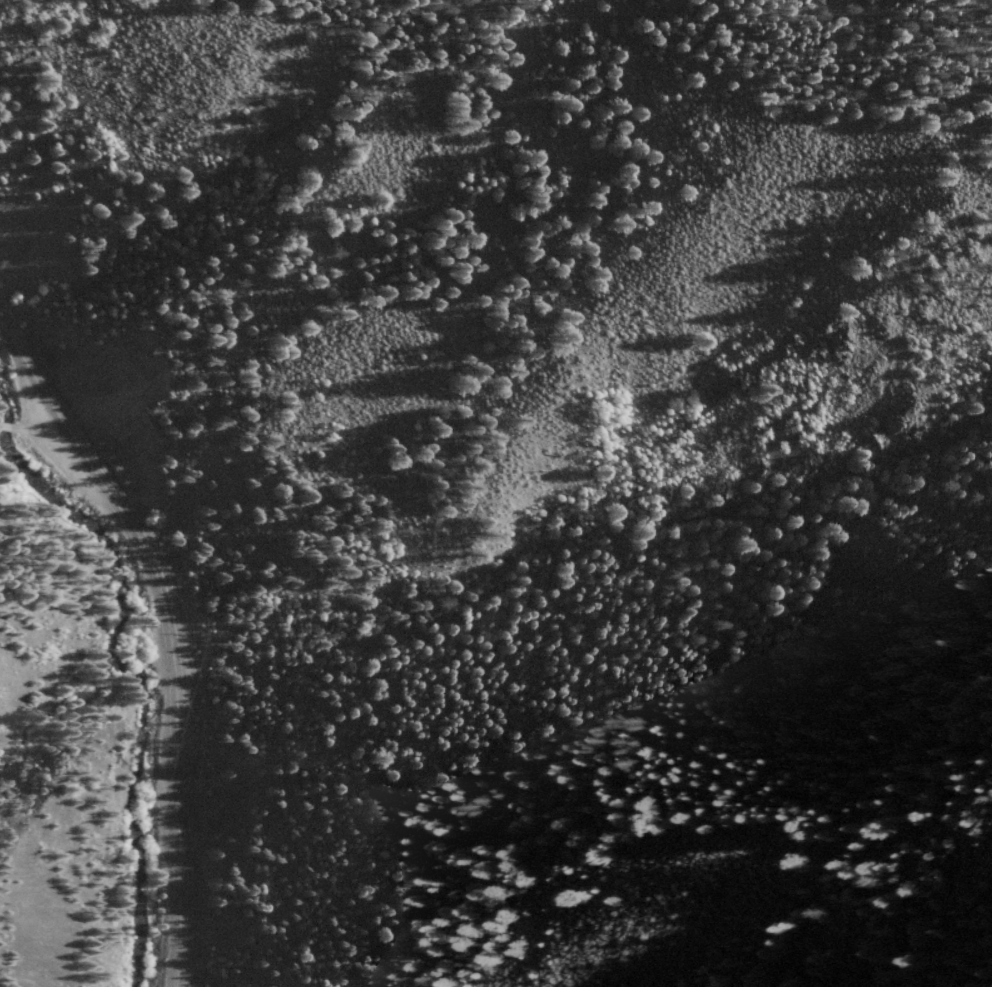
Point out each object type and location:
road: (871, 91)
road: (34, 415)
road: (7, 421)
road: (110, 606)
road: (167, 634)

